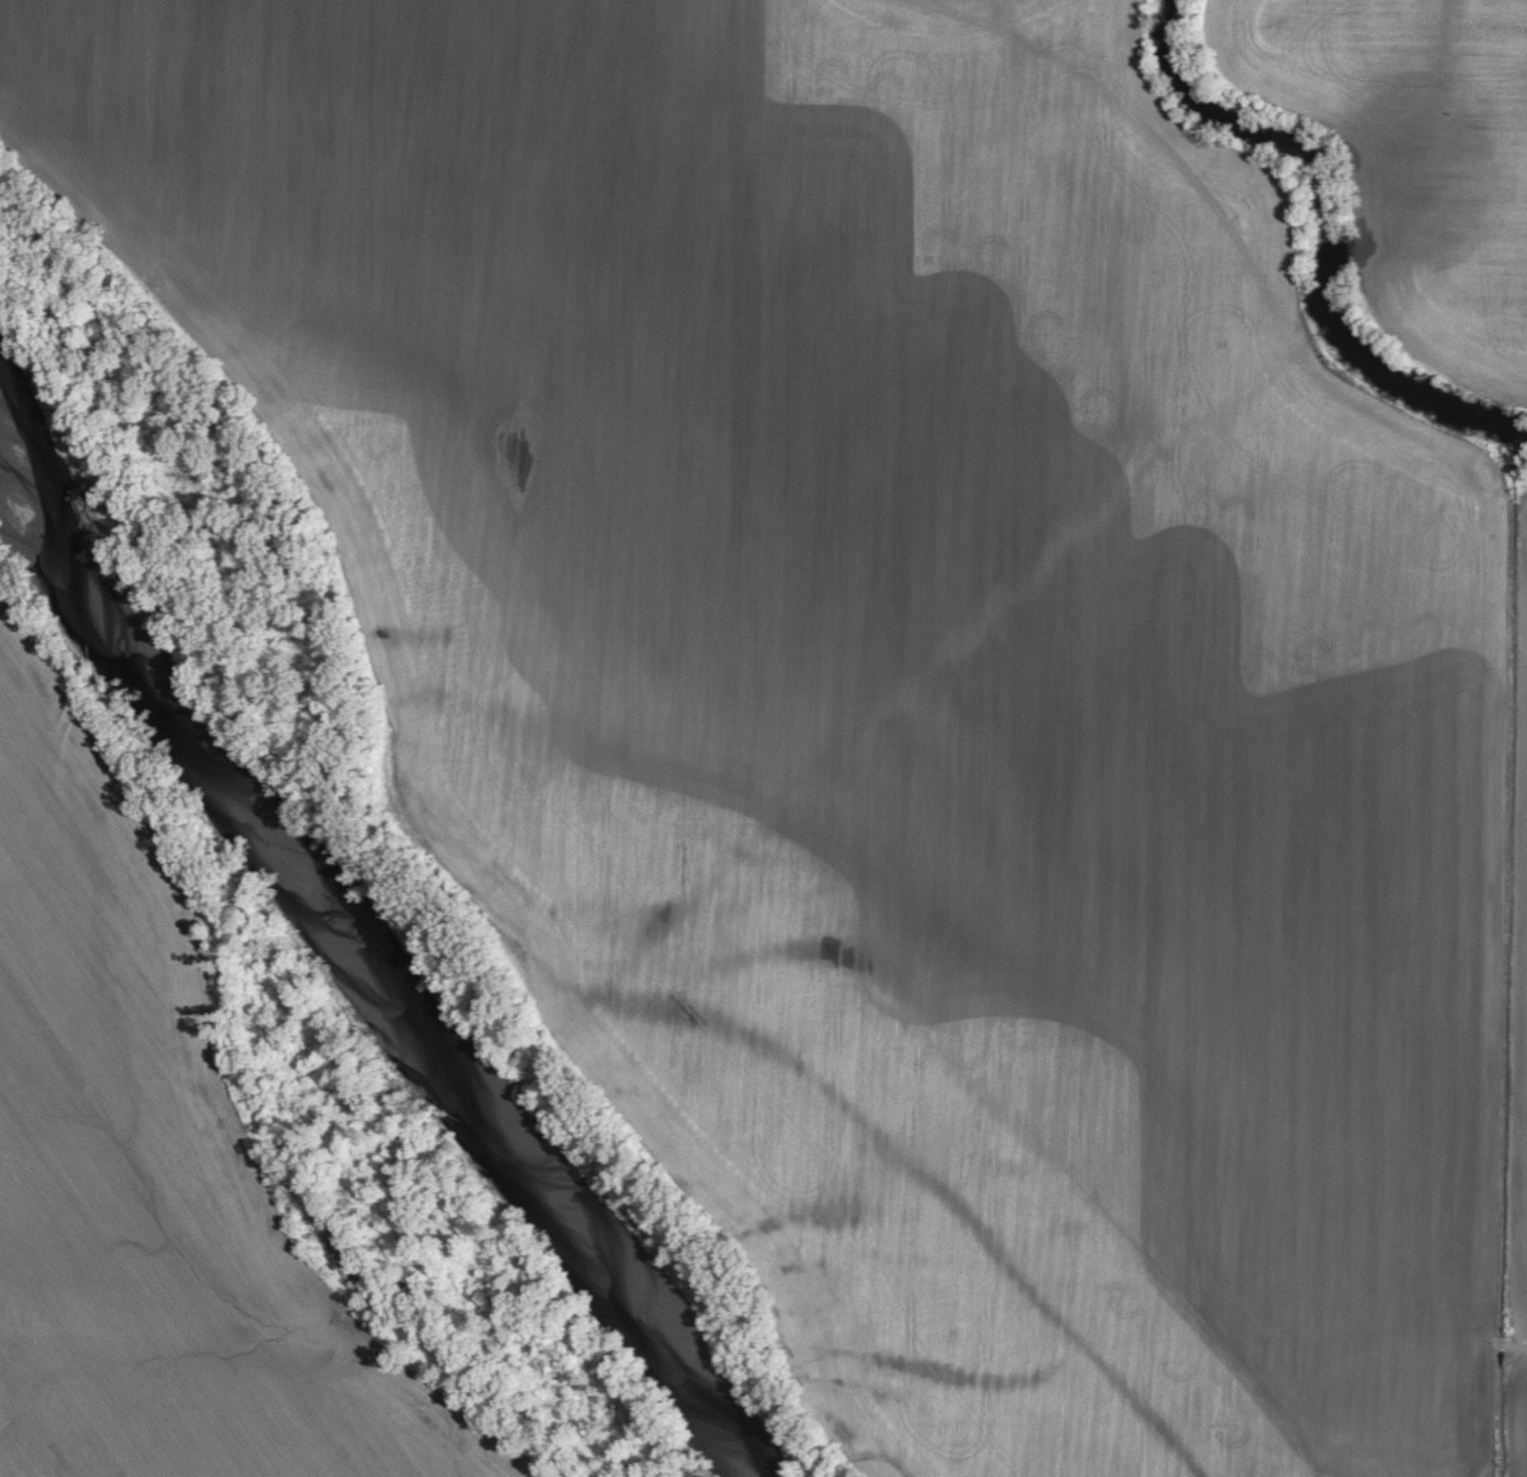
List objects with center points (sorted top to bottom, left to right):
river: (375, 974)

